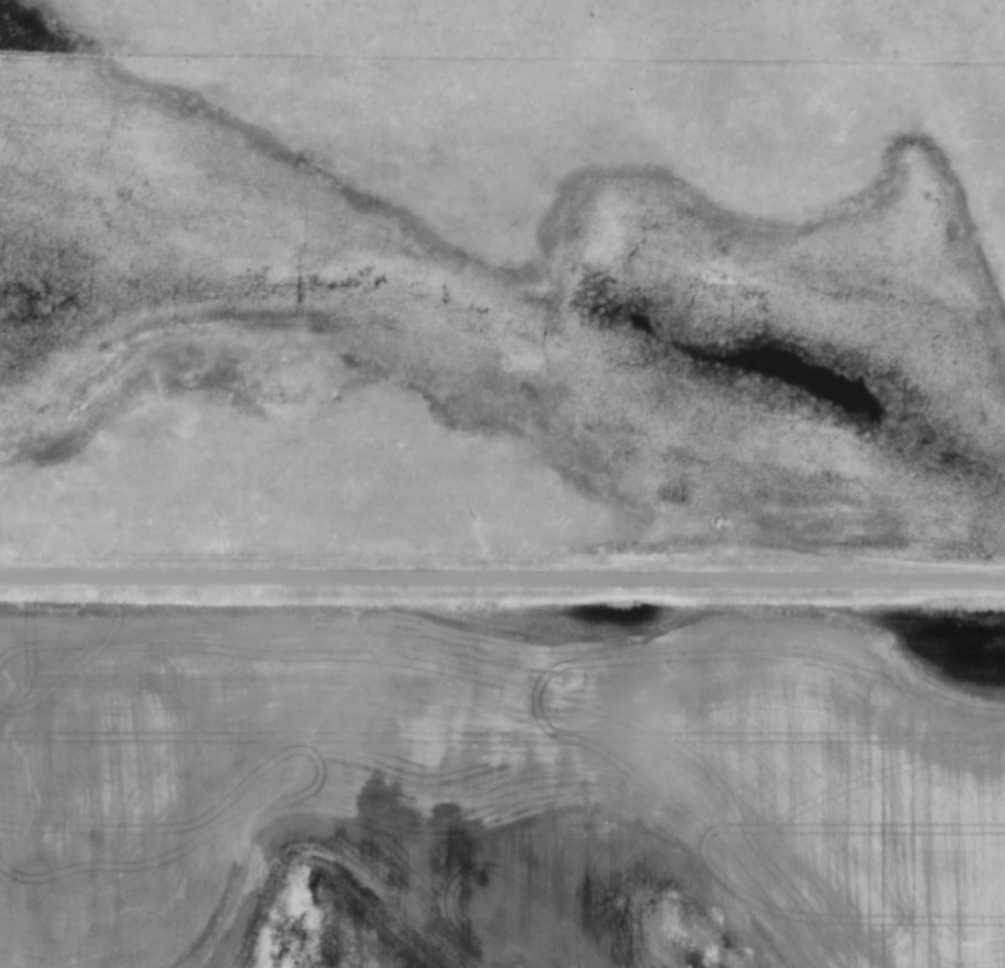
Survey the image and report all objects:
road: (502, 582)

